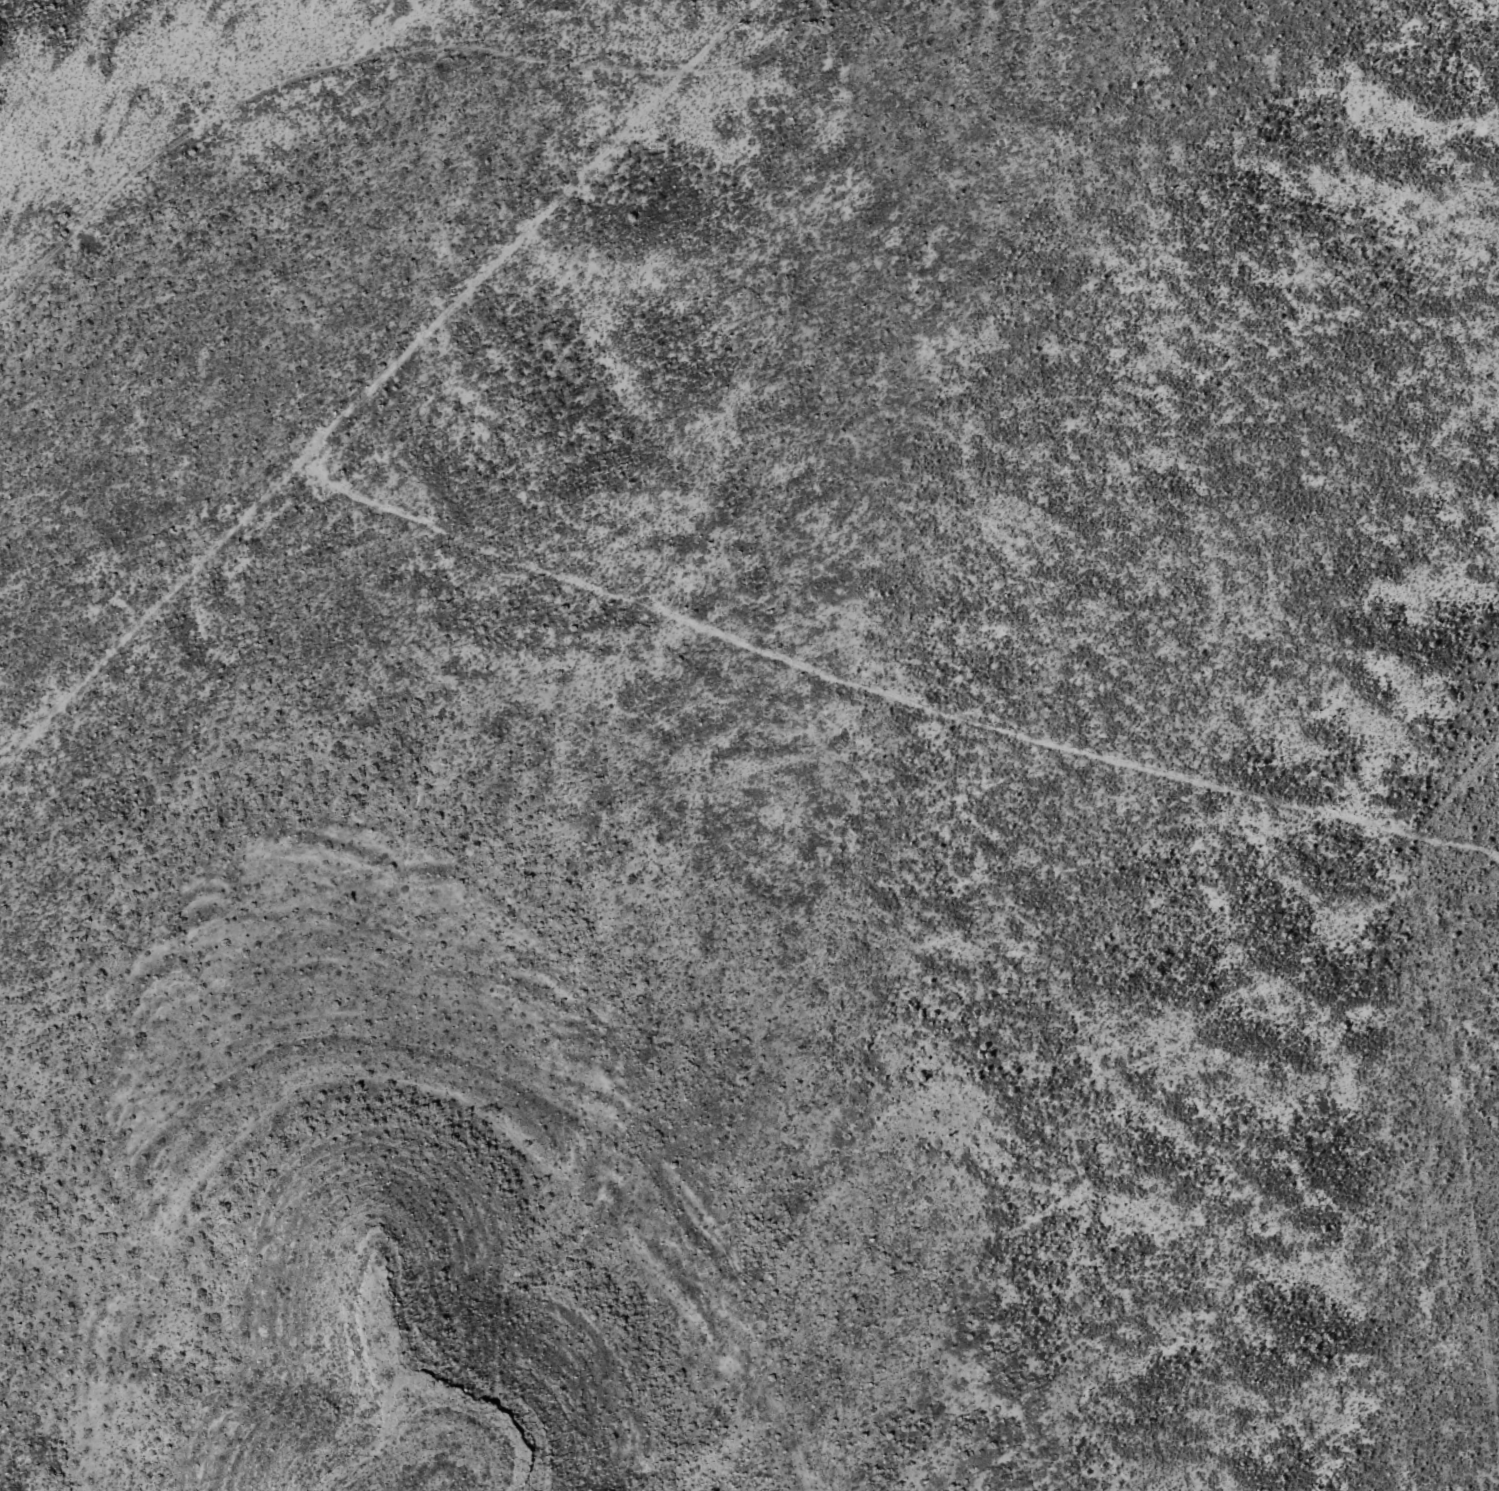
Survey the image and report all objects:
road: (379, 72)

